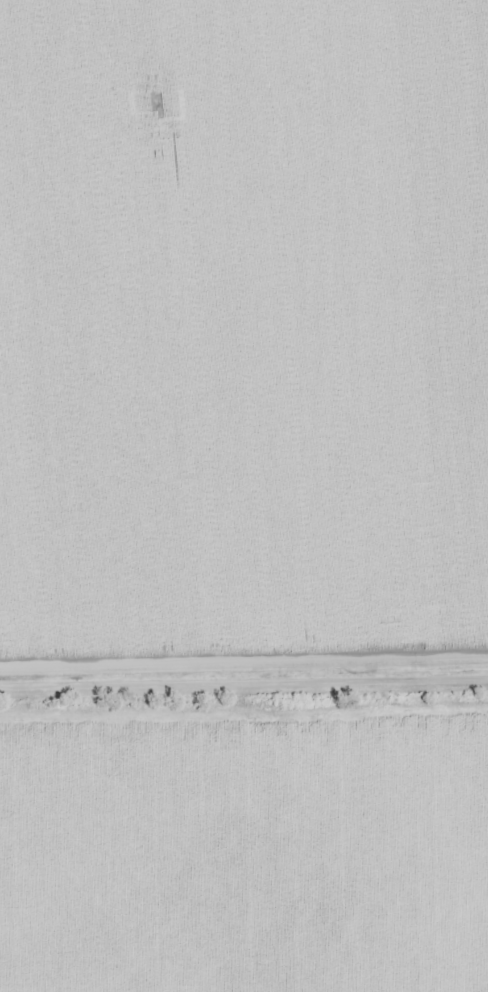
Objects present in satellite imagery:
road: (244, 676)

